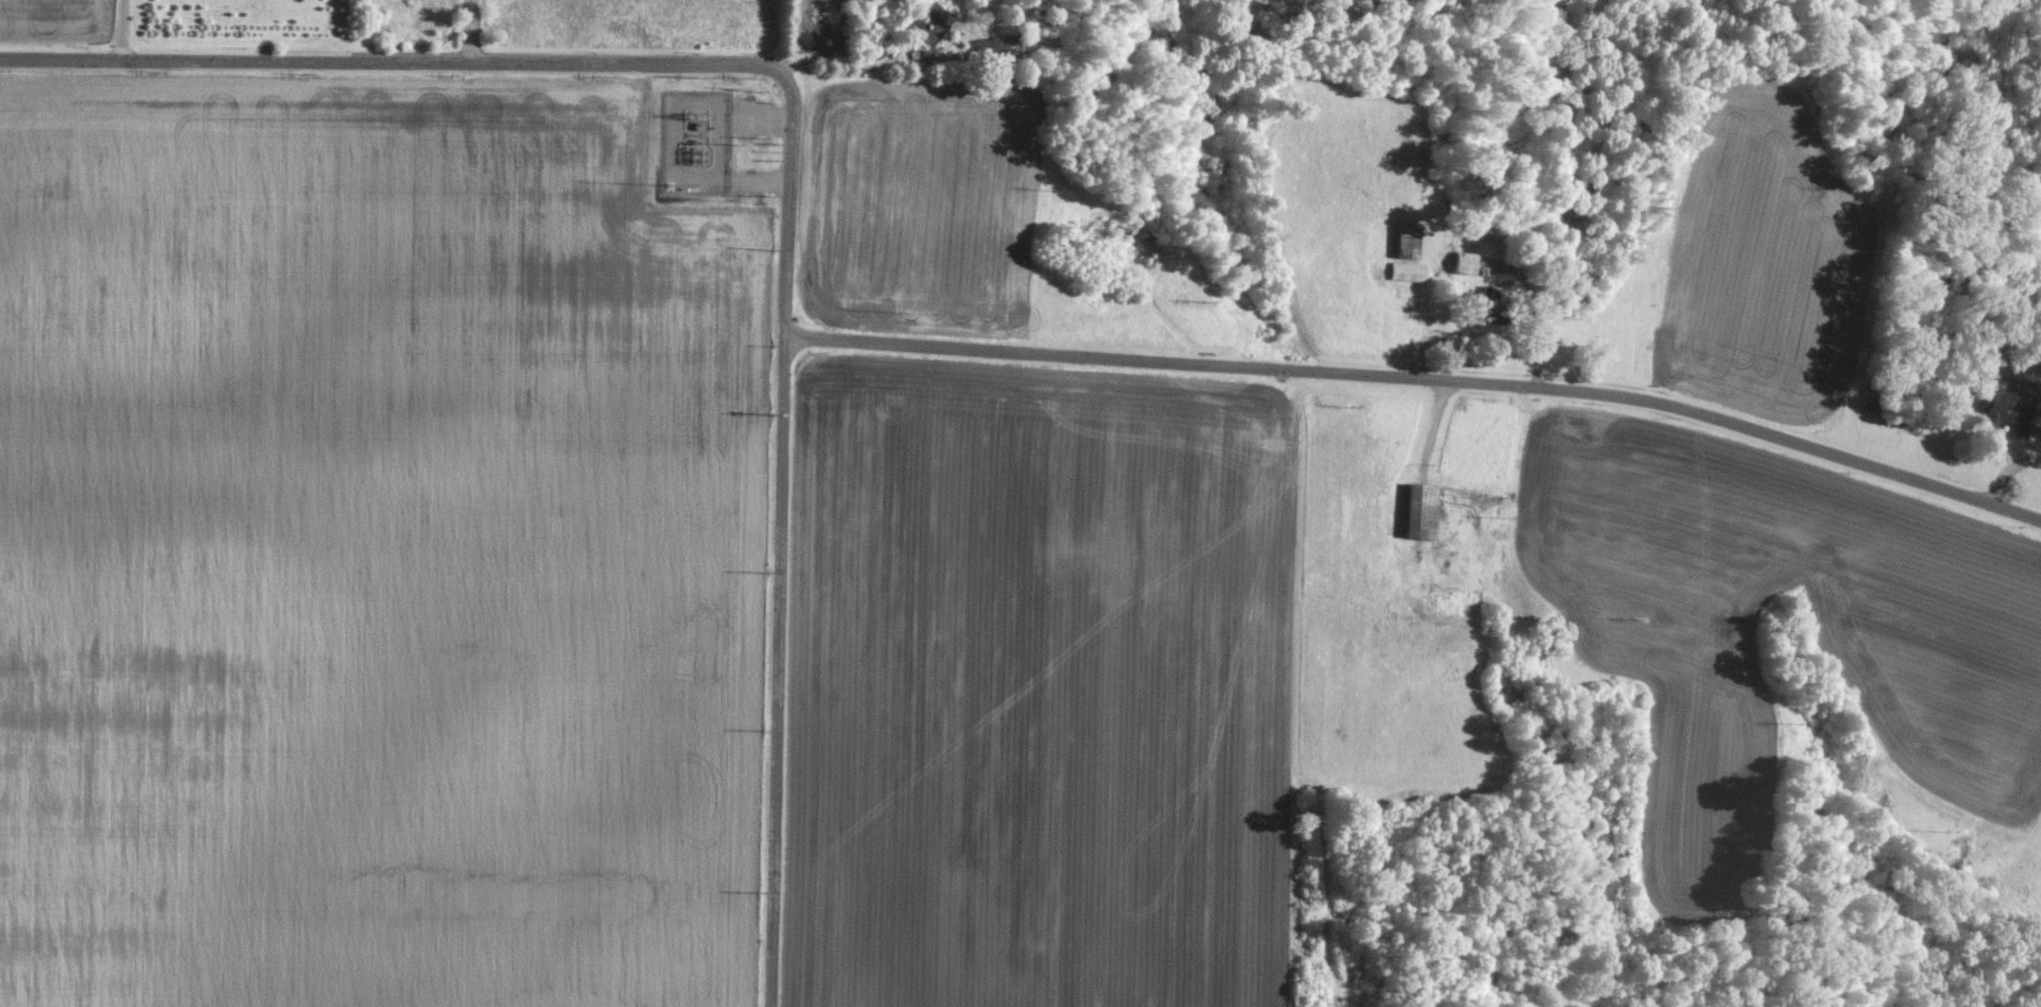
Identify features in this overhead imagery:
road: (118, 31)
road: (458, 32)
building: (990, 46)
road: (519, 64)
road: (861, 66)
power substation: (698, 140)
building: (1462, 262)
building: (1407, 271)
road: (1418, 379)
building: (2004, 407)
building: (1416, 507)
road: (770, 673)

